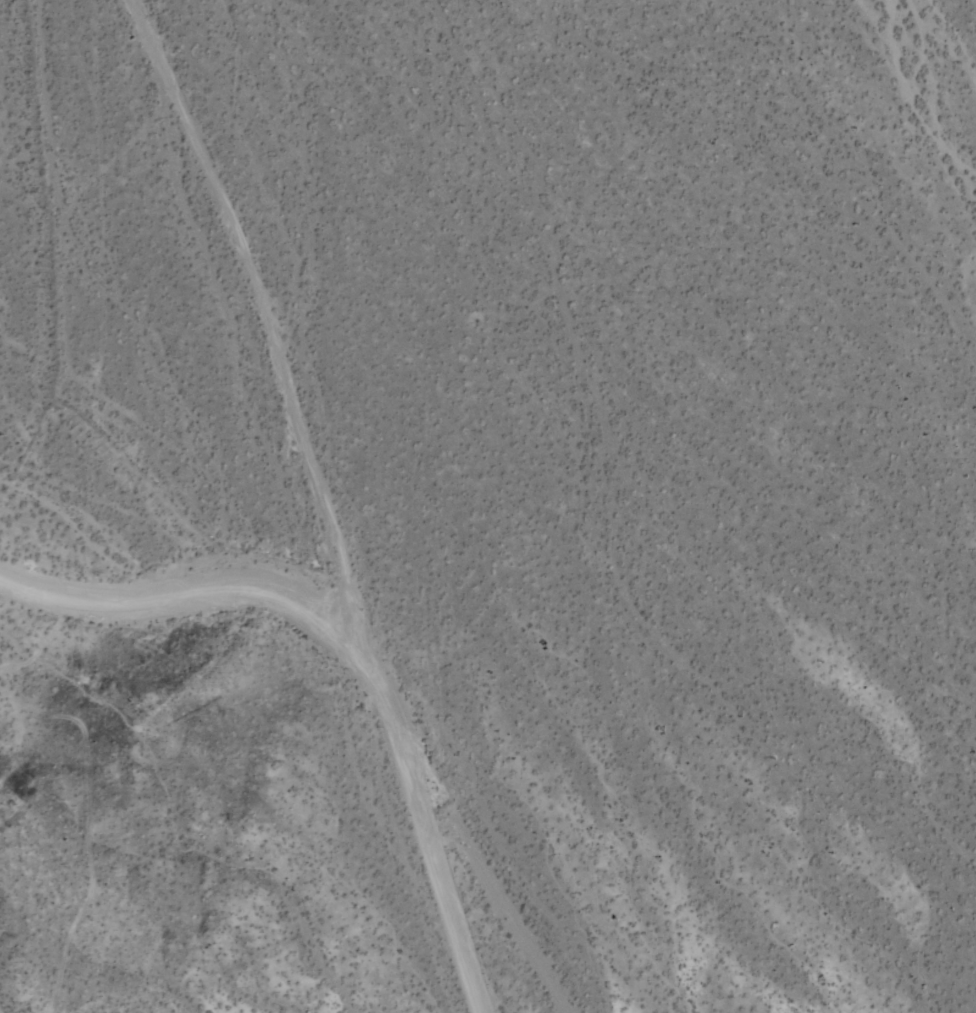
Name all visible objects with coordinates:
road: (266, 331)
road: (198, 593)
road: (431, 842)
road: (485, 879)

